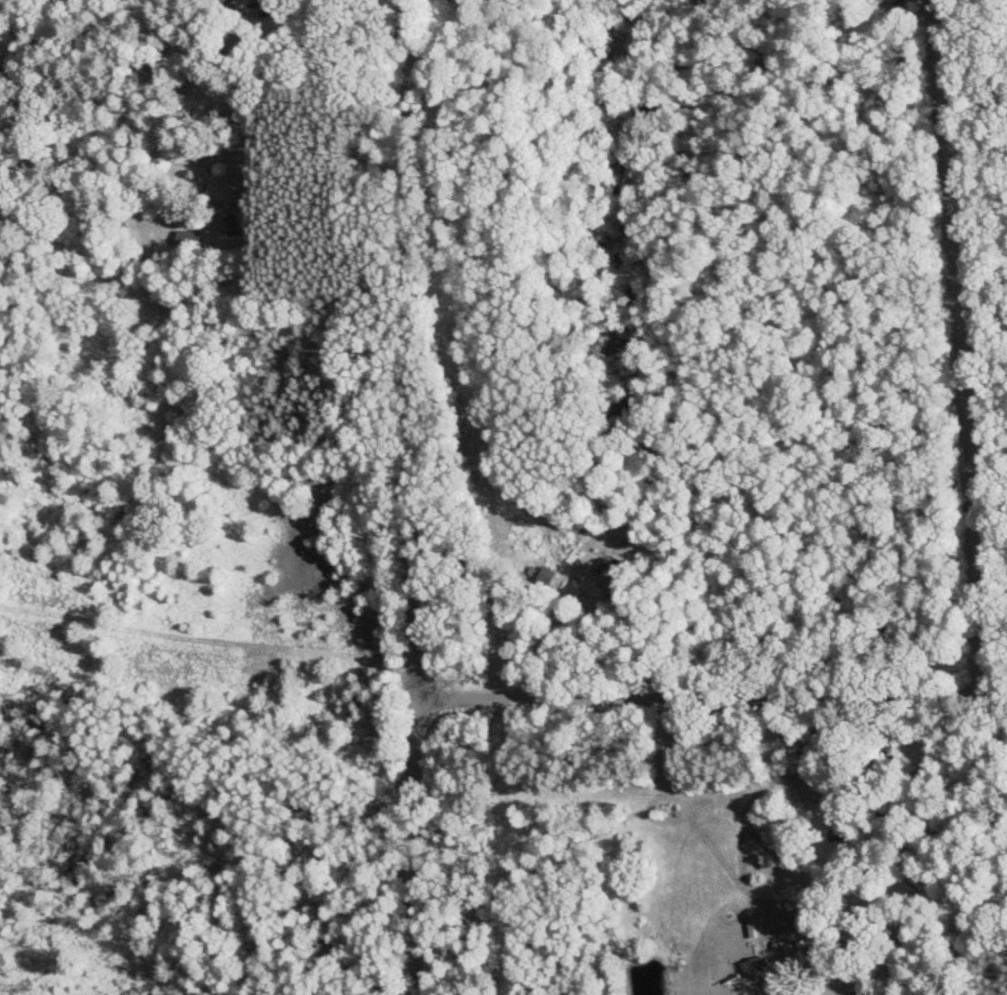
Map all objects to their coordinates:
road: (181, 55)
building: (187, 241)
road: (947, 334)
road: (416, 497)
building: (593, 584)
road: (710, 666)

